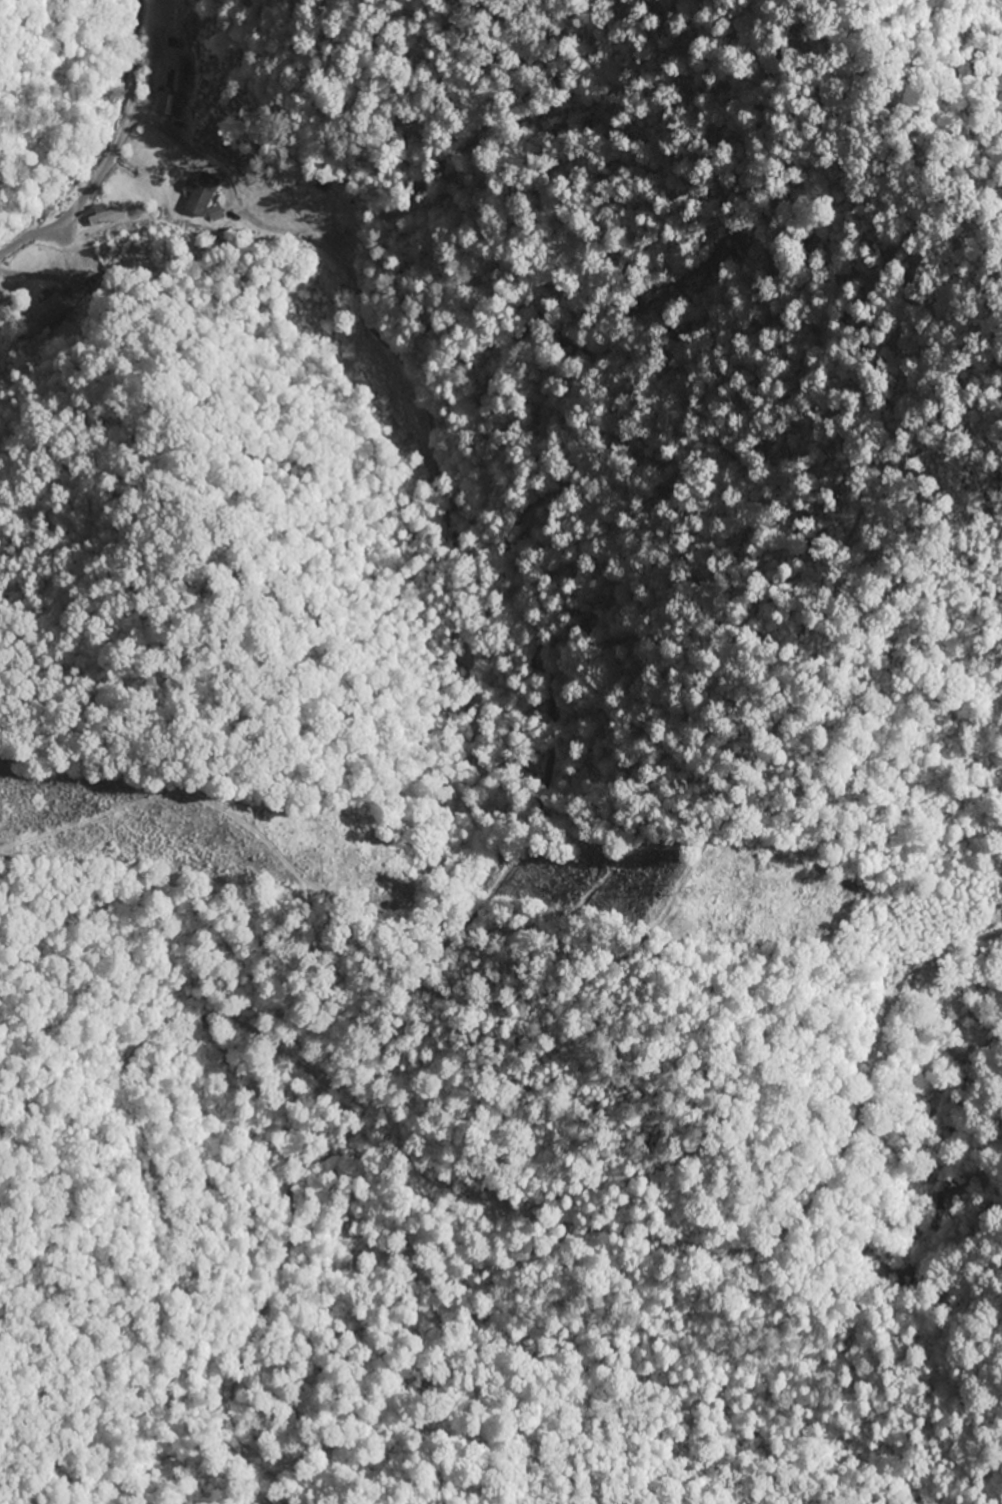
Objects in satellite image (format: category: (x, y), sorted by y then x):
building: (177, 75)
road: (116, 154)
building: (199, 194)
building: (103, 216)
building: (46, 310)

